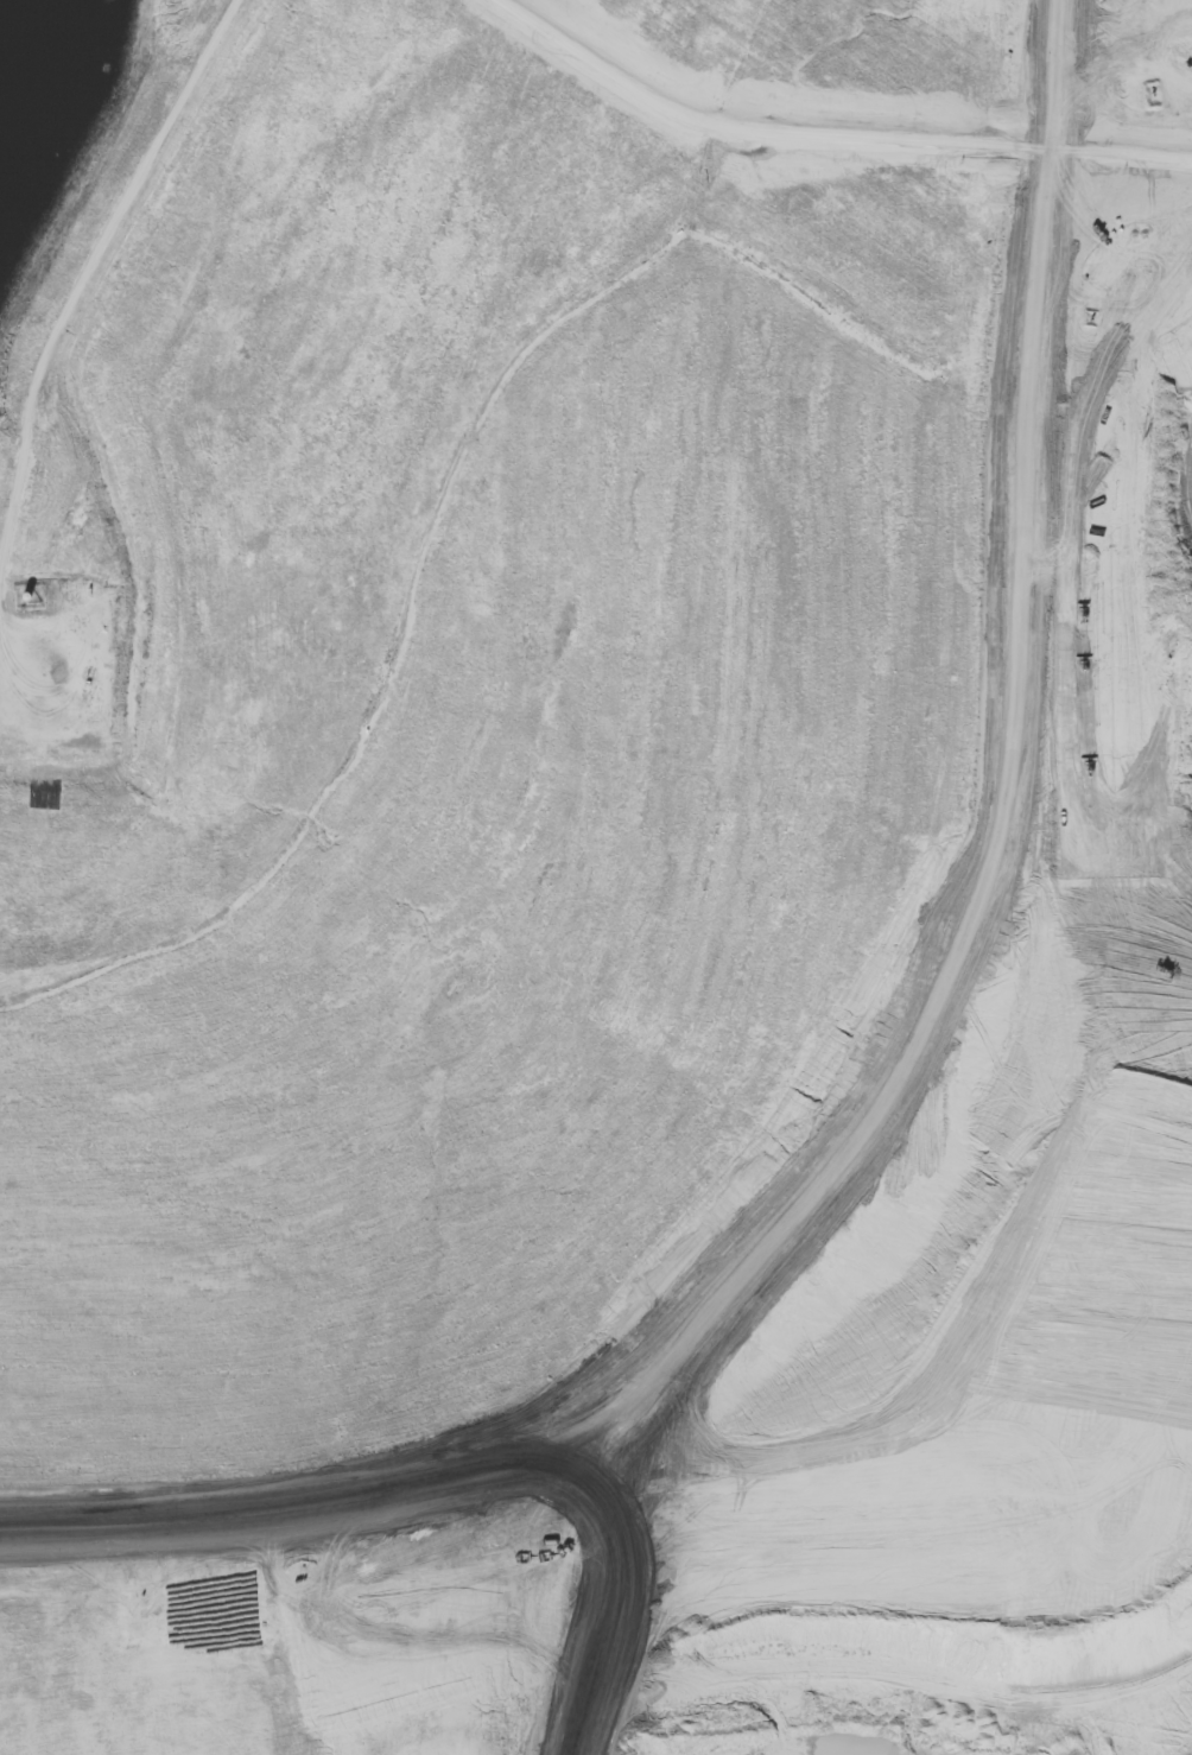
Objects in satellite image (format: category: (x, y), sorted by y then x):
quarry: (322, 214)

